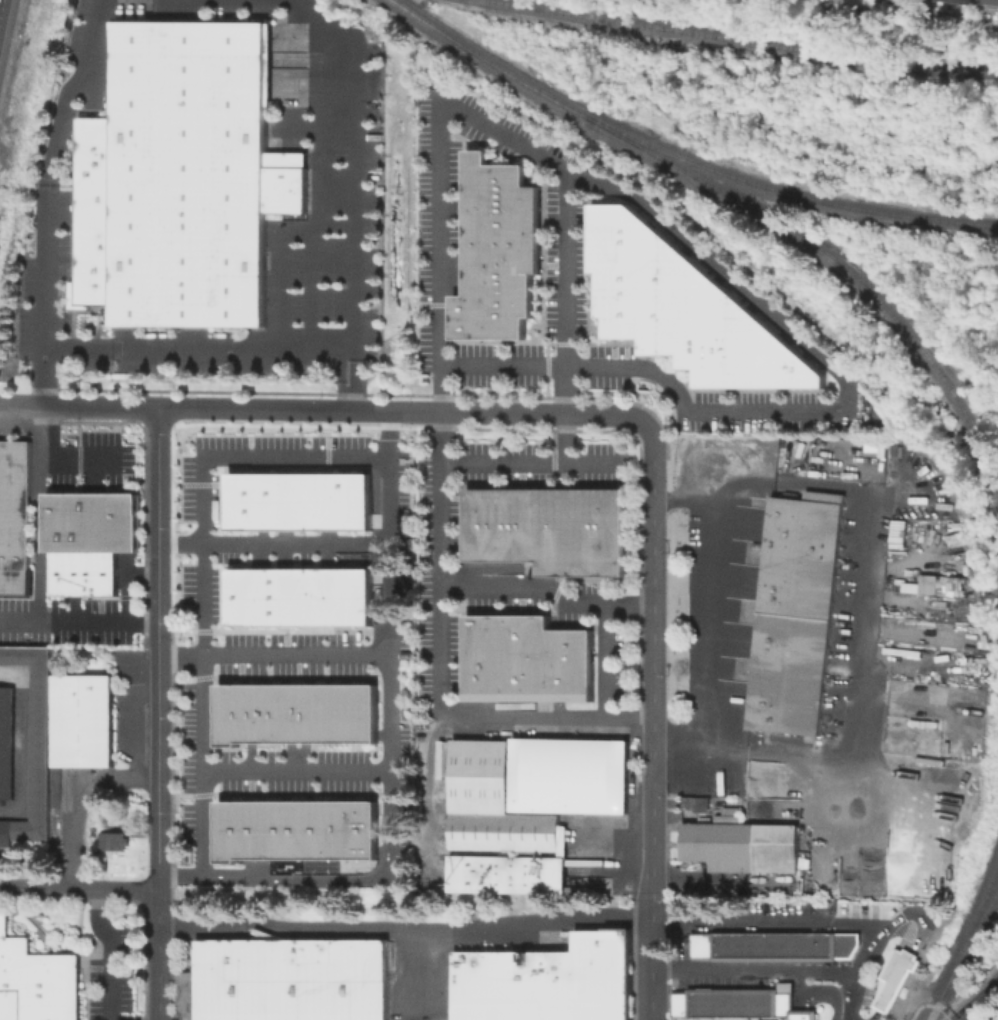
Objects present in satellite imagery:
road: (232, 1)
building: (965, 2)
building: (991, 4)
railway: (747, 41)
railway: (497, 67)
road: (313, 128)
road: (49, 172)
building: (181, 179)
road: (324, 183)
railway: (798, 195)
road: (301, 230)
building: (497, 250)
railway: (840, 268)
building: (684, 309)
road: (355, 314)
road: (566, 317)
road: (355, 379)
road: (78, 405)
road: (762, 410)
road: (401, 412)
road: (84, 460)
road: (534, 461)
road: (40, 483)
building: (301, 501)
building: (807, 511)
building: (14, 519)
building: (68, 522)
building: (115, 522)
building: (548, 529)
road: (158, 532)
building: (802, 543)
road: (272, 544)
road: (652, 572)
building: (798, 572)
building: (84, 573)
road: (141, 574)
road: (200, 576)
road: (124, 588)
road: (547, 589)
building: (302, 597)
building: (796, 601)
road: (712, 616)
road: (858, 616)
road: (78, 619)
building: (792, 629)
road: (273, 653)
building: (526, 659)
road: (608, 659)
building: (790, 659)
road: (441, 668)
building: (786, 689)
building: (298, 711)
building: (783, 719)
building: (82, 720)
road: (130, 724)
building: (6, 742)
building: (32, 743)
road: (390, 757)
road: (297, 769)
road: (158, 774)
building: (568, 775)
road: (74, 796)
building: (694, 803)
building: (492, 805)
road: (651, 810)
road: (109, 824)
building: (298, 828)
building: (110, 841)
building: (741, 845)
building: (505, 873)
road: (78, 888)
railway: (978, 909)
road: (893, 919)
road: (812, 924)
railway: (978, 924)
road: (404, 930)
building: (738, 946)
building: (820, 946)
road: (112, 952)
road: (157, 955)
road: (651, 958)
road: (416, 966)
road: (759, 970)
building: (894, 978)
building: (290, 979)
building: (36, 981)
building: (546, 981)
road: (894, 981)
road: (802, 985)
railway: (942, 990)
building: (186, 995)
road: (823, 995)
road: (976, 1001)
building: (753, 1002)
building: (701, 1003)
building: (790, 1004)
road: (801, 1015)
road: (874, 1015)
road: (996, 1018)

